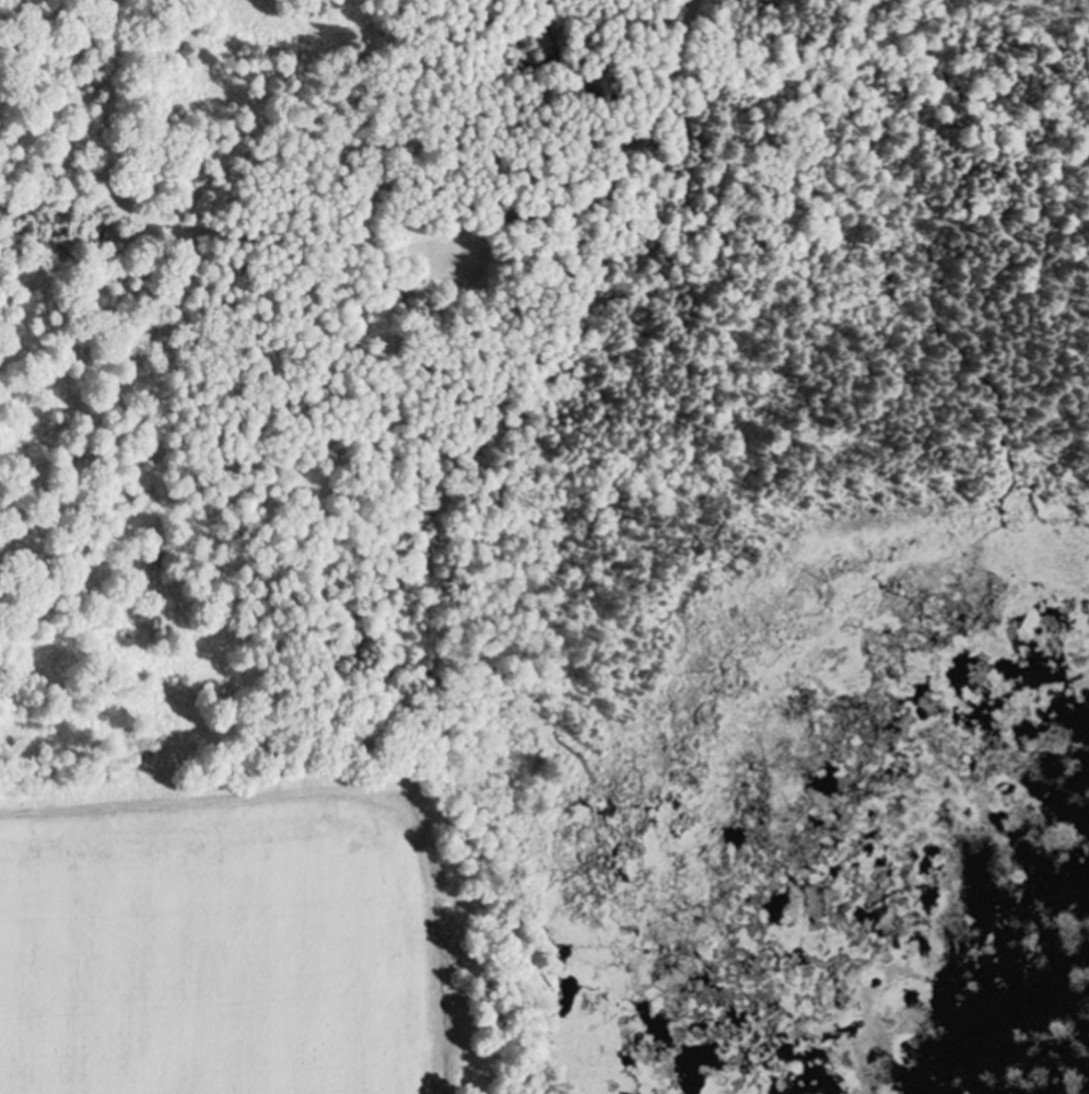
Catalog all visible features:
crop: (226, 939)

